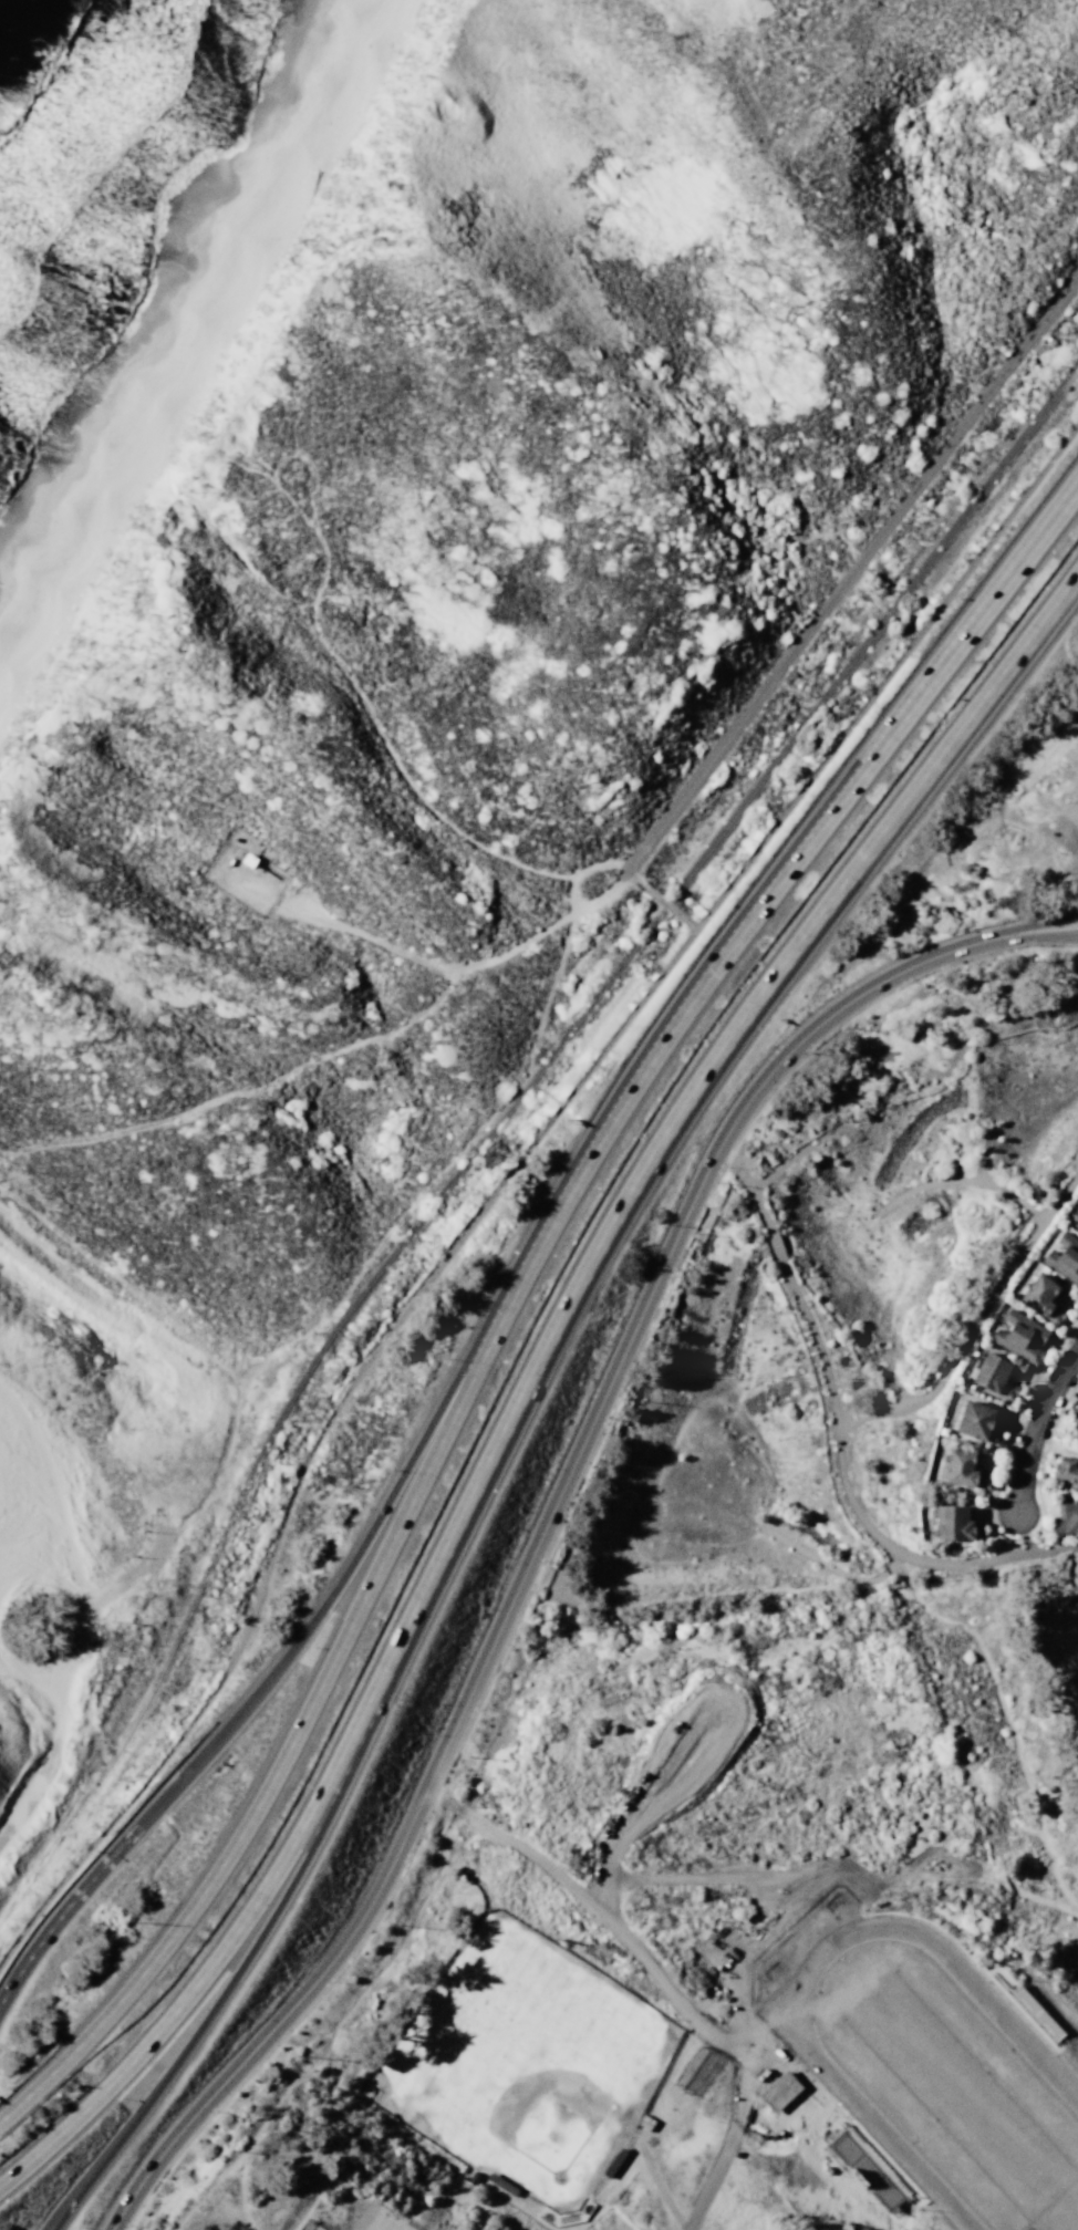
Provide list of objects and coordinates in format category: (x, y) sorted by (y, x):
road: (850, 567)
railway: (873, 627)
road: (1071, 821)
road: (1053, 823)
road: (801, 857)
road: (660, 898)
road: (661, 1152)
road: (506, 1190)
building: (1076, 1225)
building: (1065, 1257)
building: (1043, 1298)
park: (836, 1313)
building: (1020, 1337)
building: (995, 1375)
railway: (293, 1390)
road: (865, 1414)
building: (1075, 1414)
building: (979, 1420)
road: (1034, 1424)
building: (965, 1469)
building: (1065, 1469)
road: (548, 1513)
building: (1065, 1517)
building: (954, 1523)
road: (911, 1557)
road: (973, 1631)
road: (299, 1640)
road: (311, 1704)
road: (467, 1839)
road: (847, 1876)
road: (611, 1907)
street lamp: (882, 1908)
road: (864, 1912)
street lamp: (918, 1913)
street lamp: (848, 1915)
street lamp: (717, 1928)
street lamp: (817, 1932)
street lamp: (947, 1932)
street lamp: (749, 1942)
street lamp: (784, 1944)
street lamp: (693, 1951)
street lamp: (975, 1961)
street lamp: (711, 1971)
road: (792, 1977)
street lamp: (1012, 1977)
street lamp: (730, 1992)
street lamp: (786, 1998)
road: (187, 2002)
street lamp: (750, 2013)
road: (209, 2018)
road: (760, 2021)
park: (900, 2021)
road: (733, 2037)
street lamp: (1059, 2041)
parking lot: (759, 2049)
road: (752, 2052)
street lamp: (794, 2057)
park: (521, 2062)
road: (313, 2063)
track: (933, 2070)
building: (779, 2091)
street lamp: (213, 2109)
street lamp: (822, 2120)
street lamp: (786, 2127)
park: (1007, 2144)
road: (725, 2146)
road: (313, 2164)
road: (614, 2182)
road: (661, 2190)
road: (241, 2193)
road: (591, 2212)
street lamp: (909, 2216)
park: (373, 2218)
street lamp: (127, 2223)
building: (937, 2223)
park: (309, 2226)
park: (401, 2226)
road: (564, 2229)

